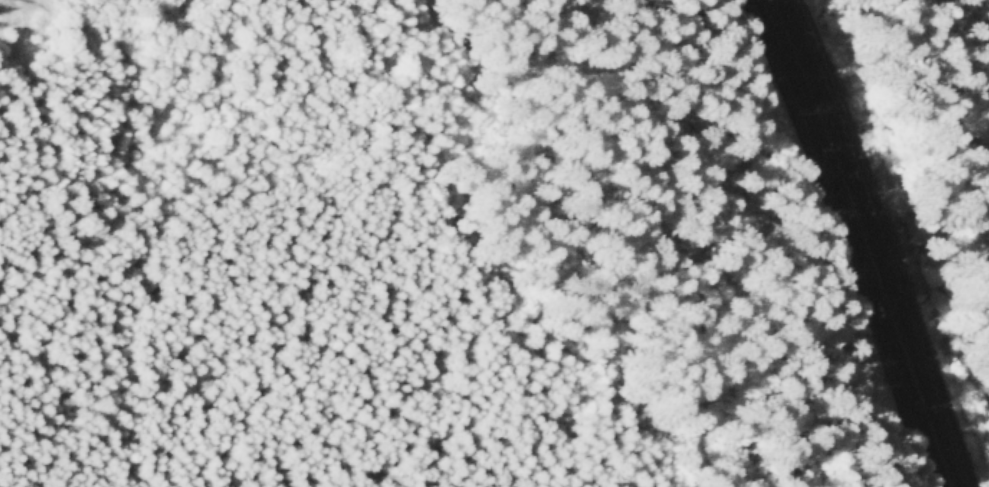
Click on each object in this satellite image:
road: (302, 6)
road: (3, 9)
road: (398, 58)
road: (38, 114)
road: (832, 147)
road: (918, 391)

